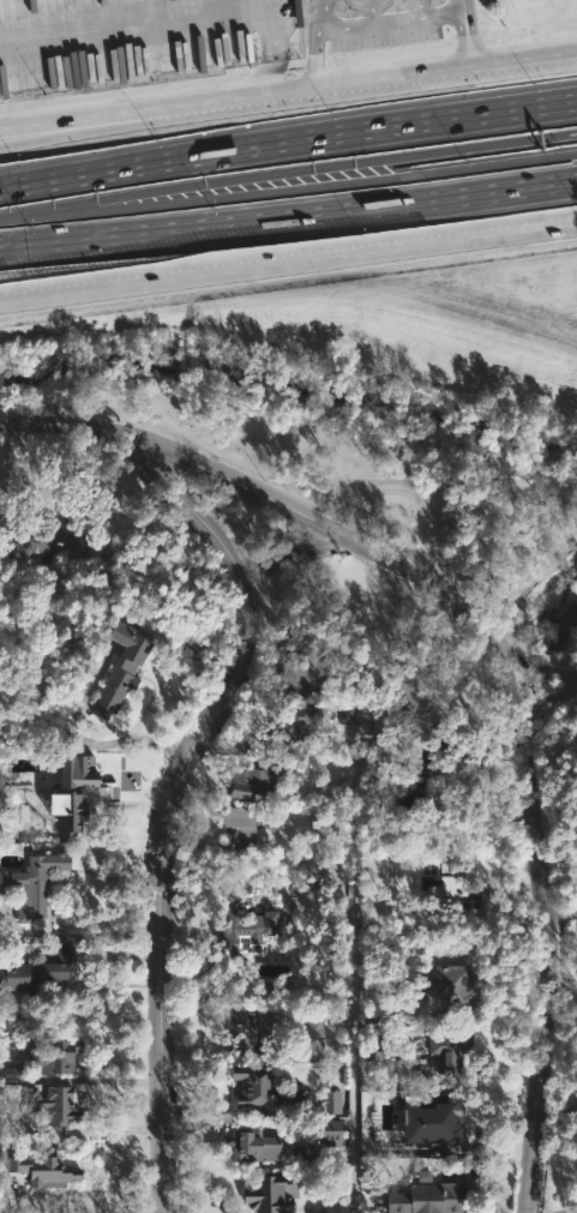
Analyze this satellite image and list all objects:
road: (463, 6)
road: (192, 17)
road: (380, 22)
road: (468, 38)
road: (314, 55)
road: (288, 90)
road: (383, 124)
road: (62, 130)
road: (482, 142)
road: (5, 144)
road: (575, 149)
road: (482, 162)
road: (95, 169)
road: (573, 178)
road: (240, 179)
road: (242, 188)
road: (46, 208)
road: (286, 215)
road: (288, 262)
park: (369, 408)
road: (320, 484)
road: (40, 514)
road: (307, 514)
building: (43, 544)
road: (288, 556)
road: (405, 633)
building: (355, 668)
building: (131, 674)
building: (306, 678)
building: (294, 720)
road: (198, 738)
building: (449, 746)
road: (531, 762)
building: (405, 763)
building: (252, 780)
building: (68, 791)
building: (236, 828)
road: (561, 866)
building: (447, 884)
building: (30, 885)
road: (564, 912)
building: (245, 930)
road: (78, 936)
building: (34, 978)
building: (447, 986)
road: (353, 1020)
building: (313, 1027)
building: (244, 1033)
road: (548, 1040)
building: (373, 1051)
building: (449, 1055)
building: (44, 1059)
building: (265, 1092)
building: (330, 1101)
building: (53, 1104)
road: (559, 1110)
building: (409, 1115)
building: (326, 1134)
building: (251, 1143)
building: (43, 1170)
building: (266, 1195)
building: (425, 1199)
building: (333, 1208)

